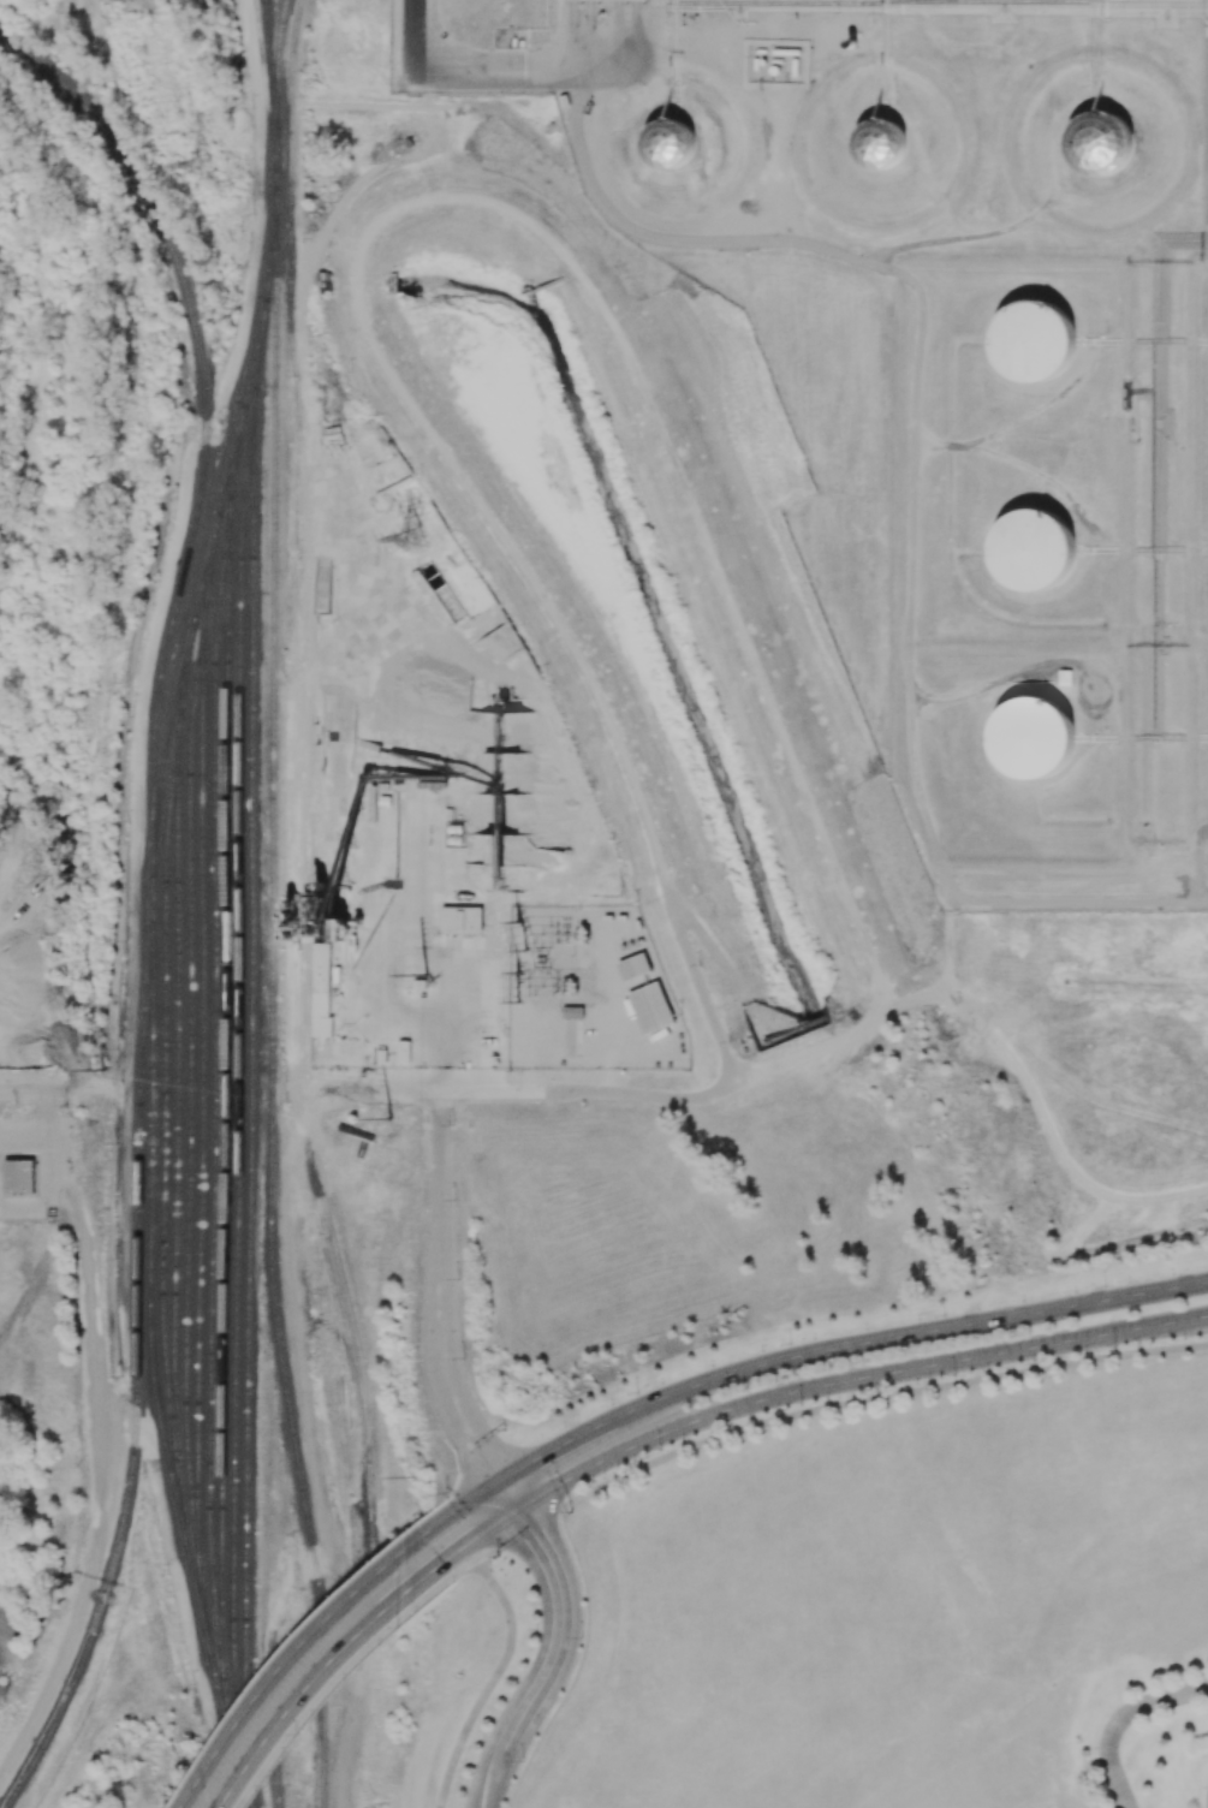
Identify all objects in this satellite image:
building: (613, 0)
railway: (268, 59)
railway: (275, 59)
road: (532, 66)
railway: (47, 72)
building: (668, 143)
building: (1100, 143)
building: (881, 144)
power tower: (207, 163)
railway: (276, 174)
railway: (256, 343)
building: (1035, 343)
storage tank: (1035, 343)
railway: (260, 359)
railway: (201, 469)
railway: (230, 492)
railway: (221, 504)
power tower: (413, 537)
building: (1035, 549)
storage tank: (1035, 549)
railway: (204, 594)
railway: (182, 696)
railway: (174, 697)
railway: (296, 732)
building: (1034, 739)
storage tank: (1034, 739)
railway: (150, 902)
building: (460, 918)
railway: (308, 926)
power tower: (524, 932)
power tower: (428, 970)
building: (322, 973)
power substation: (589, 993)
building: (651, 1007)
power tower: (522, 1009)
railway: (269, 1021)
building: (403, 1051)
power tower: (103, 1073)
railway: (210, 1086)
railway: (186, 1087)
railway: (198, 1087)
railway: (222, 1087)
railway: (173, 1088)
road: (36, 1093)
road: (411, 1093)
railway: (246, 1094)
railway: (234, 1118)
railway: (160, 1134)
road: (43, 1148)
railway: (136, 1156)
building: (18, 1176)
road: (442, 1295)
road: (844, 1345)
railway: (150, 1360)
road: (853, 1378)
road: (879, 1398)
traffic signals: (472, 1439)
traffic signals: (536, 1462)
power tower: (411, 1477)
road: (512, 1494)
road: (463, 1506)
road: (481, 1533)
road: (520, 1533)
traffic signals: (540, 1541)
traffic signals: (465, 1545)
road: (466, 1571)
railway: (200, 1587)
railway: (102, 1593)
road: (563, 1629)
railway: (355, 1635)
road: (294, 1664)
road: (326, 1676)
road: (489, 1683)
road: (343, 1687)
railway: (224, 1699)
road: (1118, 1718)
park: (1147, 1733)
road: (492, 1776)
railway: (236, 1780)

